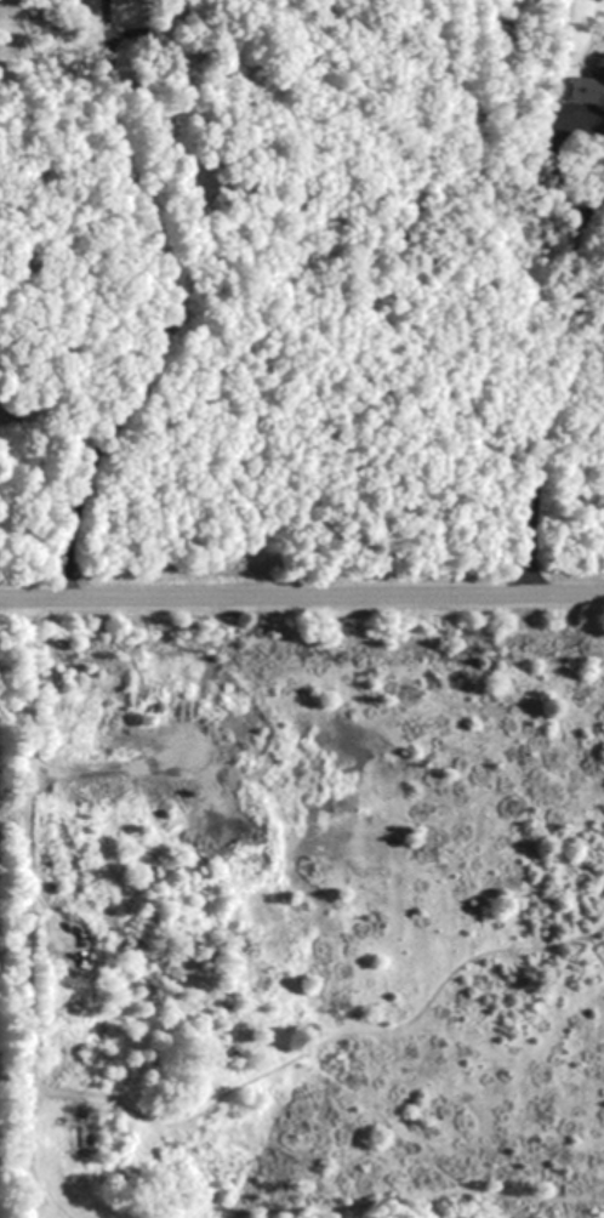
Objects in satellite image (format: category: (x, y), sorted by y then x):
building: (600, 102)
road: (546, 142)
road: (589, 204)
road: (176, 302)
road: (559, 403)
road: (302, 588)
road: (30, 838)

